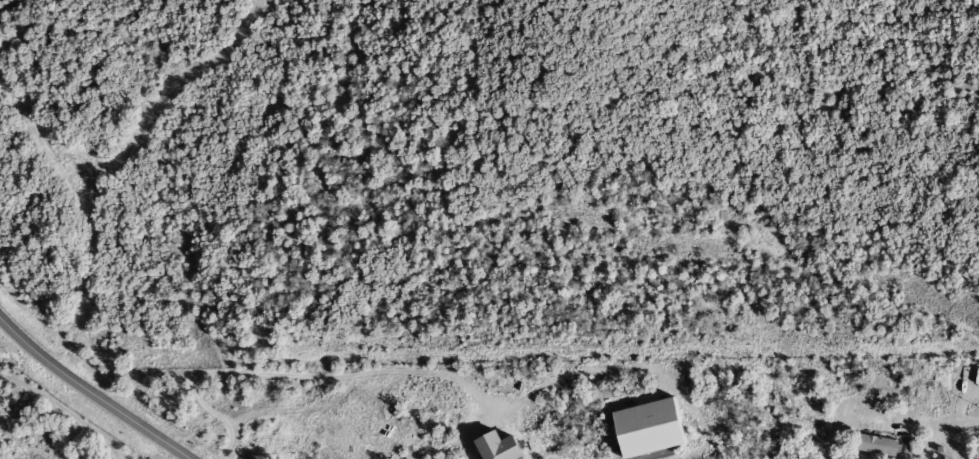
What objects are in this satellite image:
road: (302, 375)
road: (88, 394)
road: (46, 399)
road: (907, 420)
road: (40, 432)
road: (826, 437)
road: (950, 440)
building: (877, 446)
building: (906, 446)

